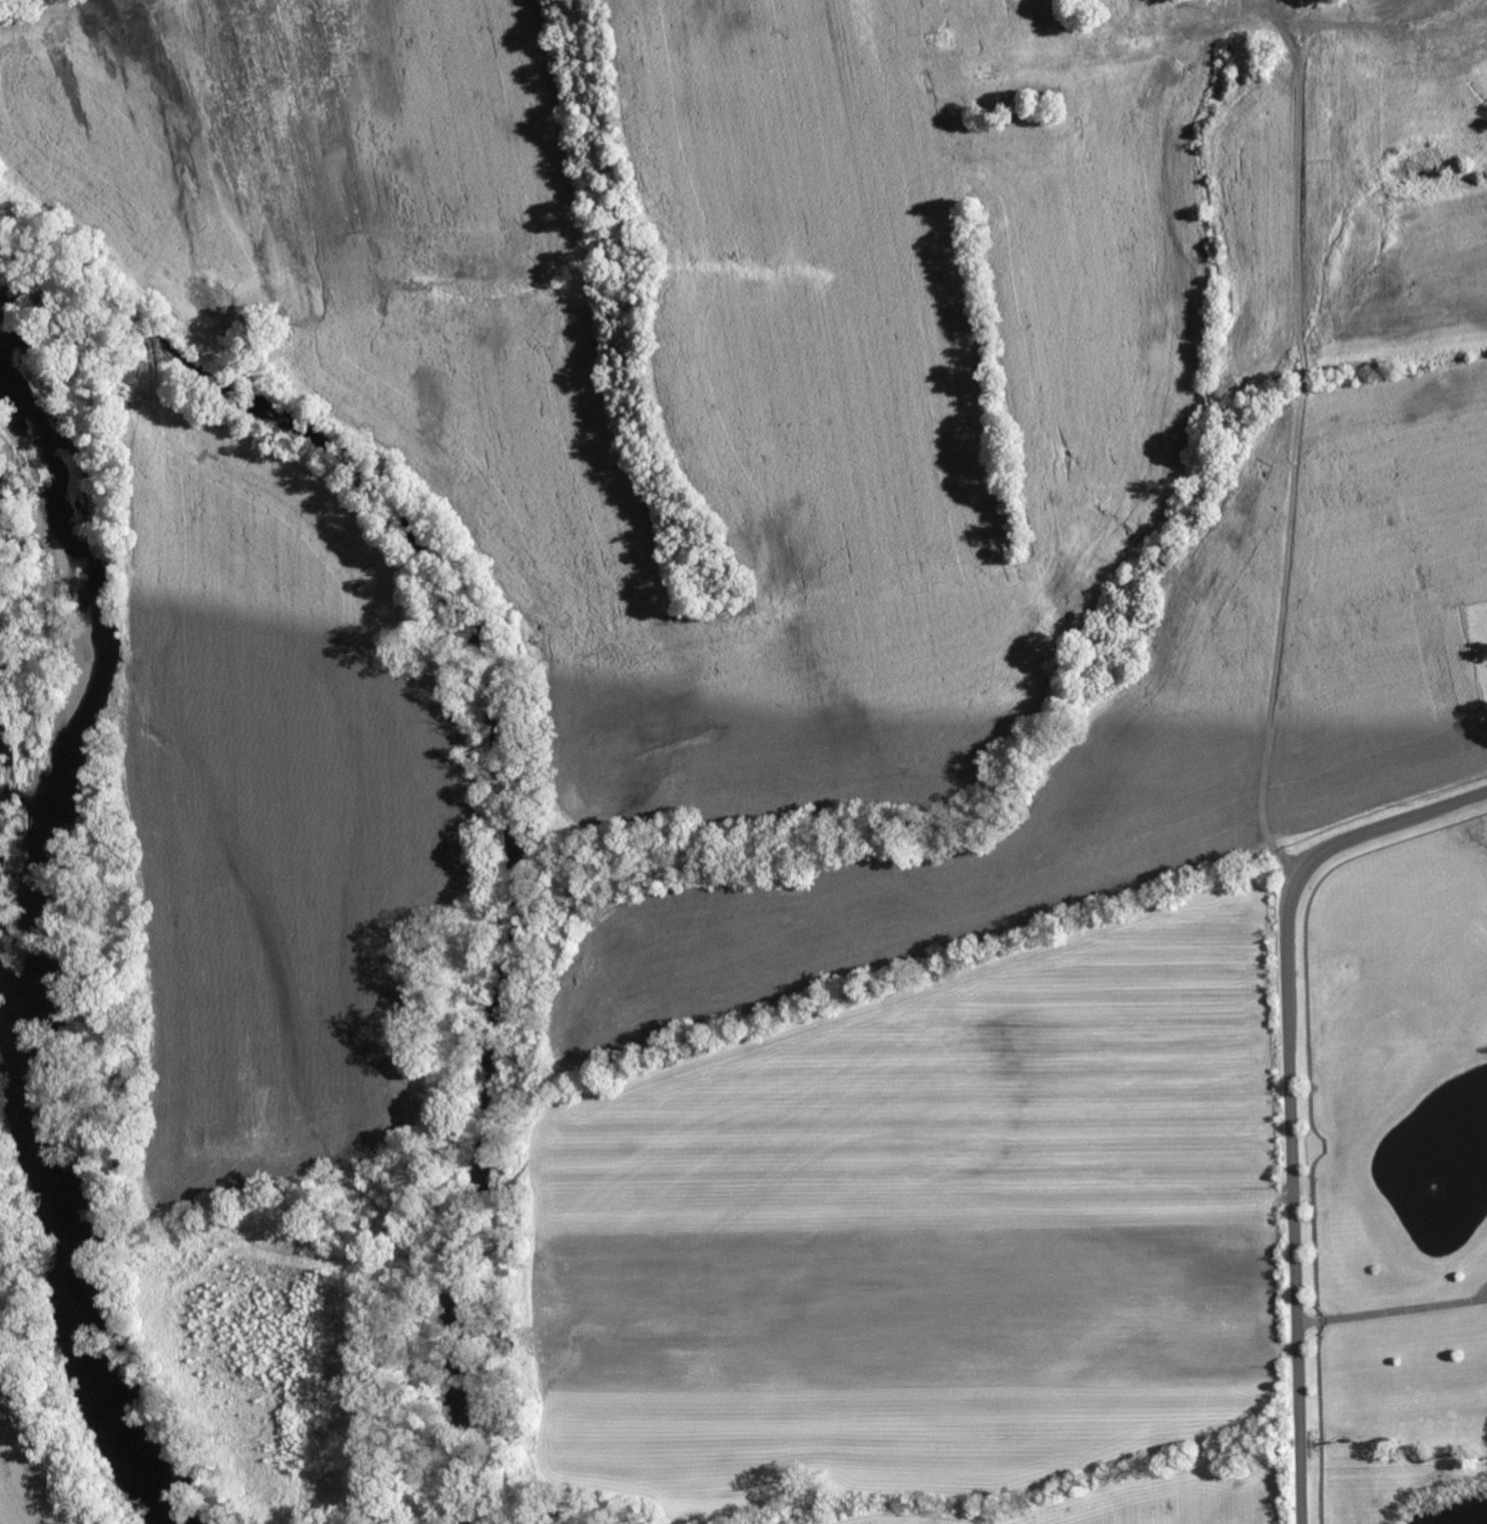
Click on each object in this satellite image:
park: (39, 43)
building: (1260, 51)
road: (1293, 444)
river: (32, 943)
park: (39, 1084)
road: (1283, 1086)
road: (1393, 1304)
road: (32, 1450)

